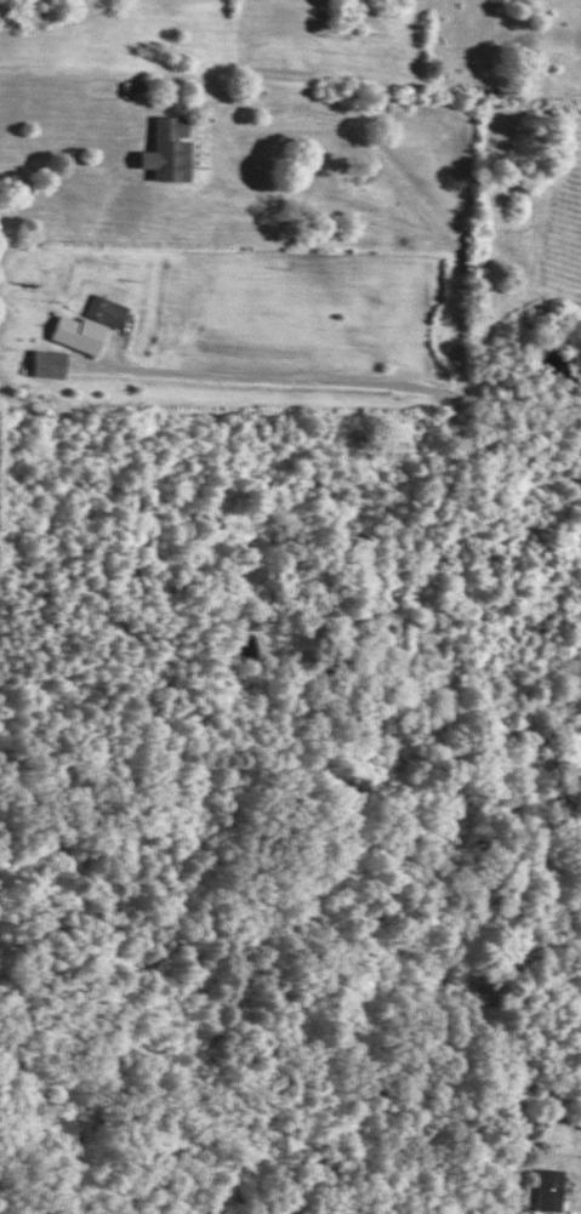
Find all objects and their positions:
building: (169, 147)
building: (86, 324)
building: (45, 364)
road: (342, 387)
building: (541, 1190)

